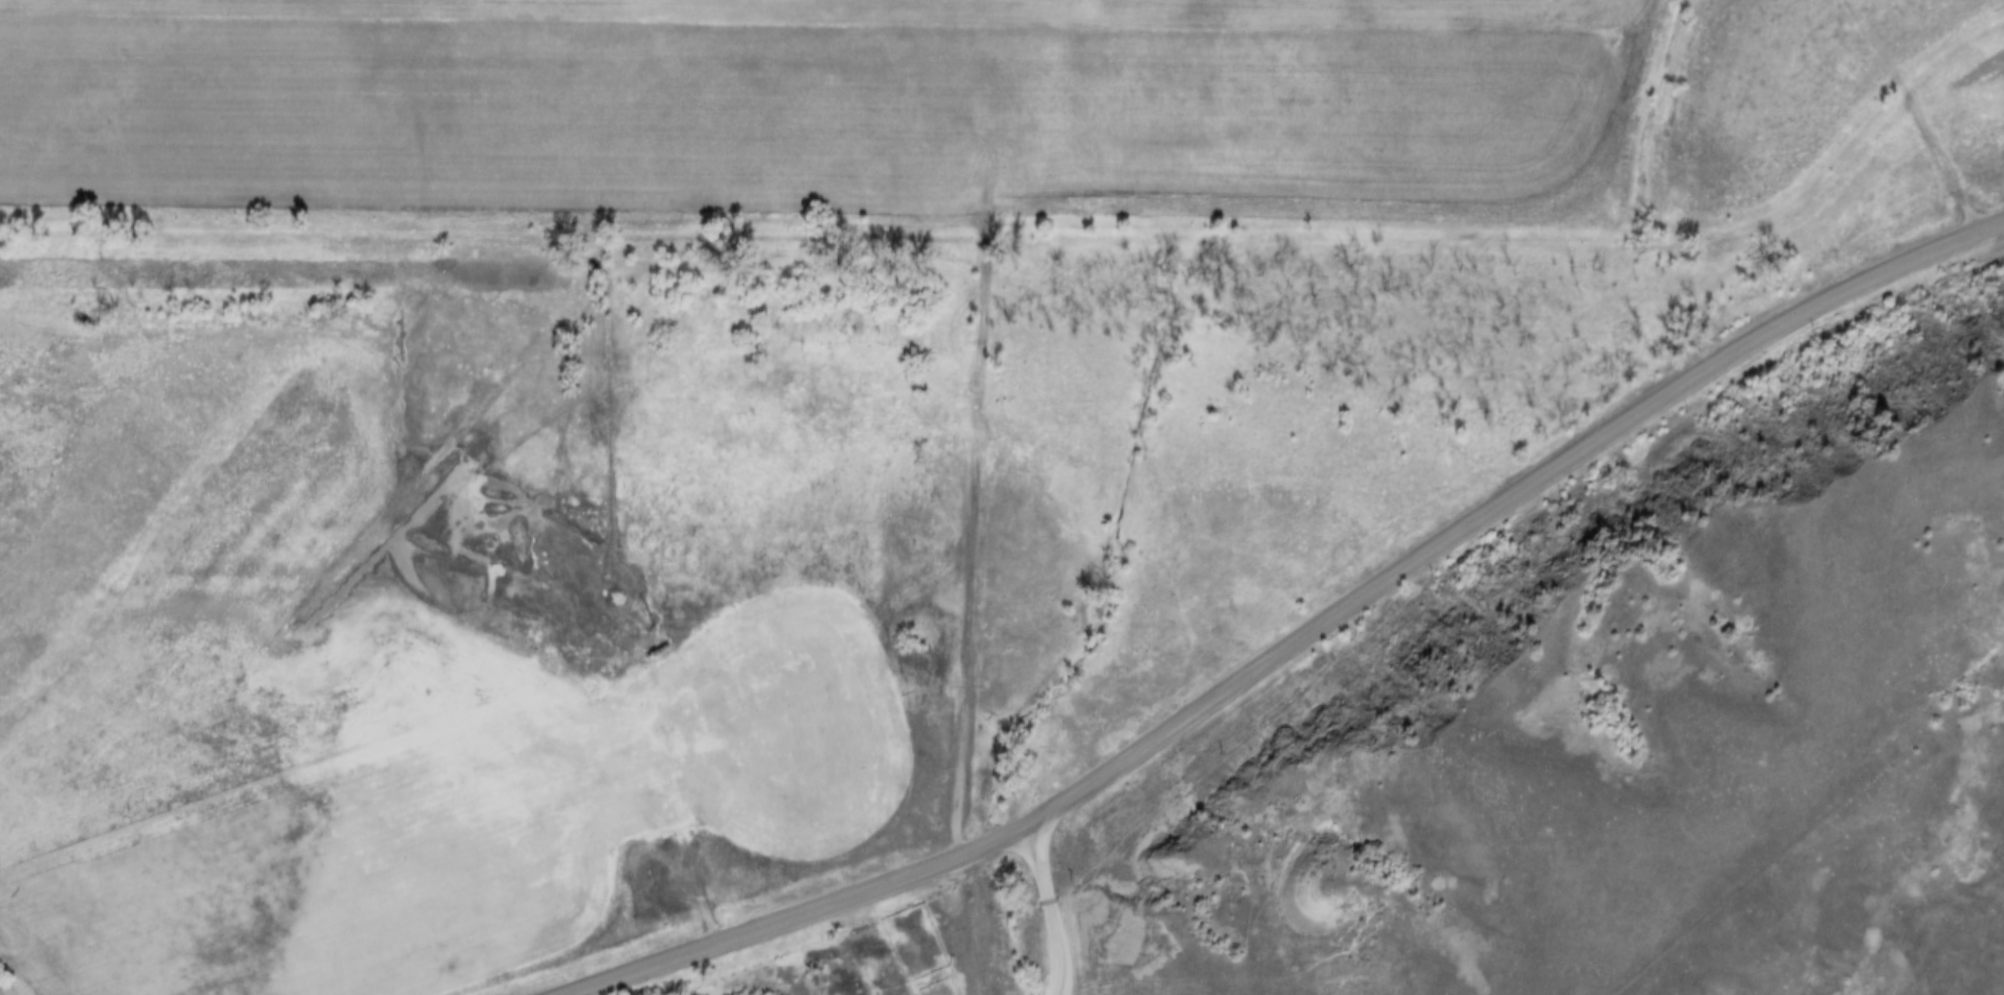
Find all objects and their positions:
road: (1305, 639)
road: (1048, 909)

